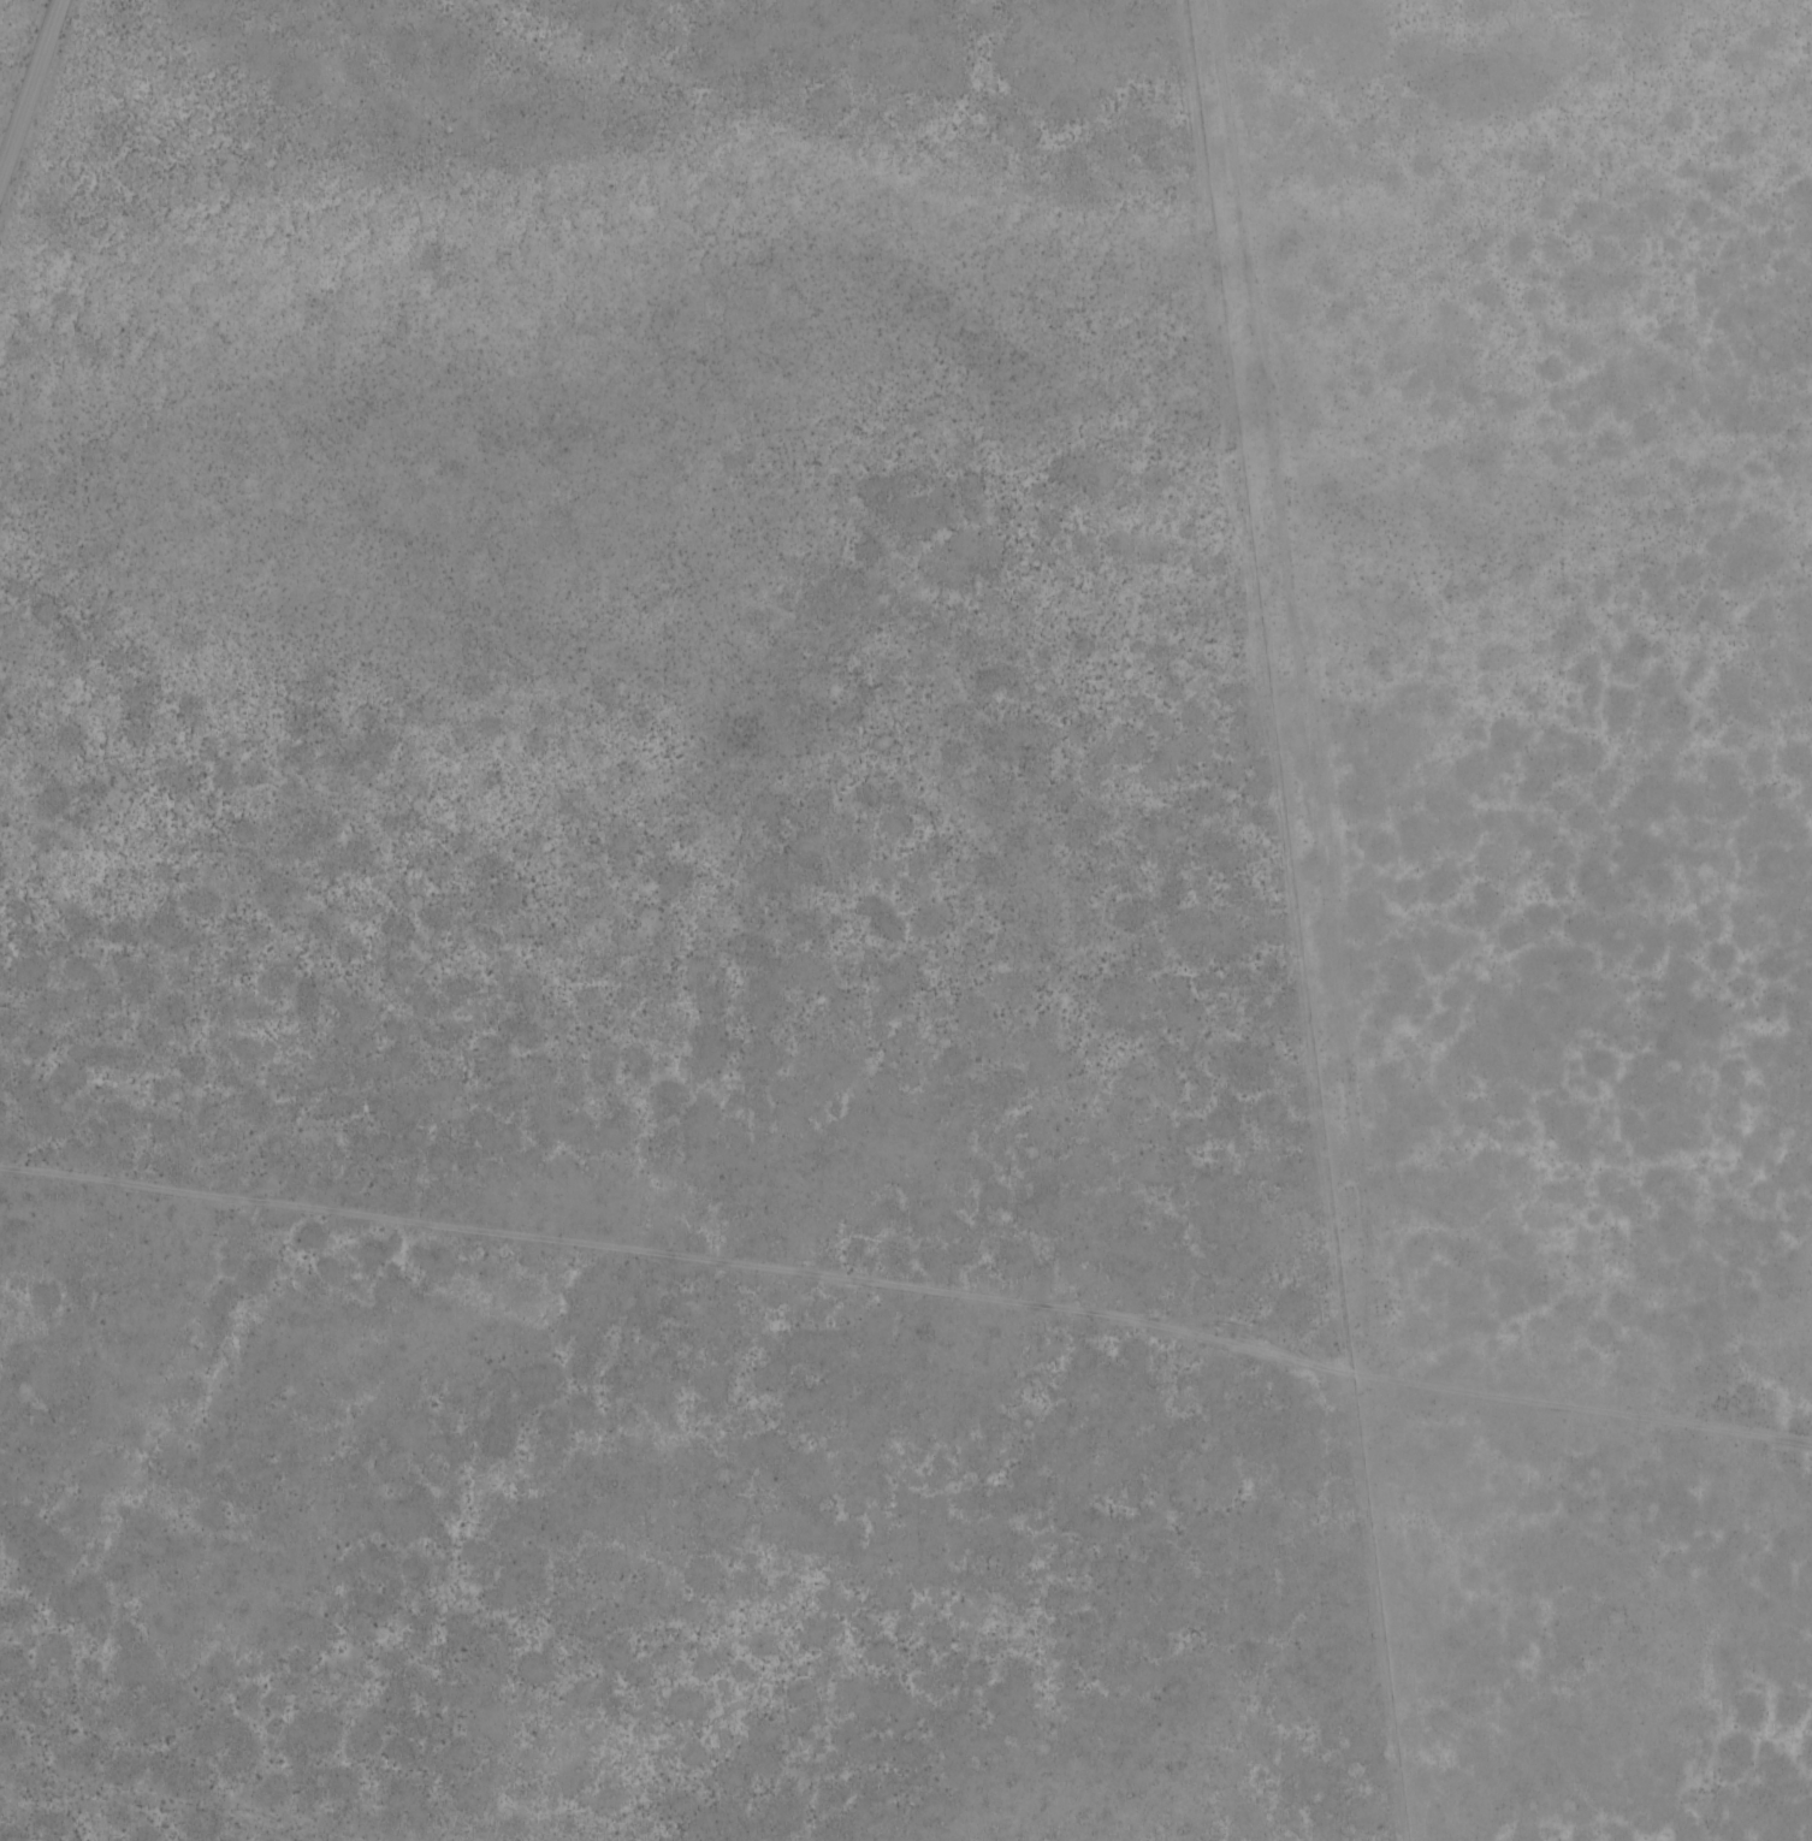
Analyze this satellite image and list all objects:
road: (35, 99)

